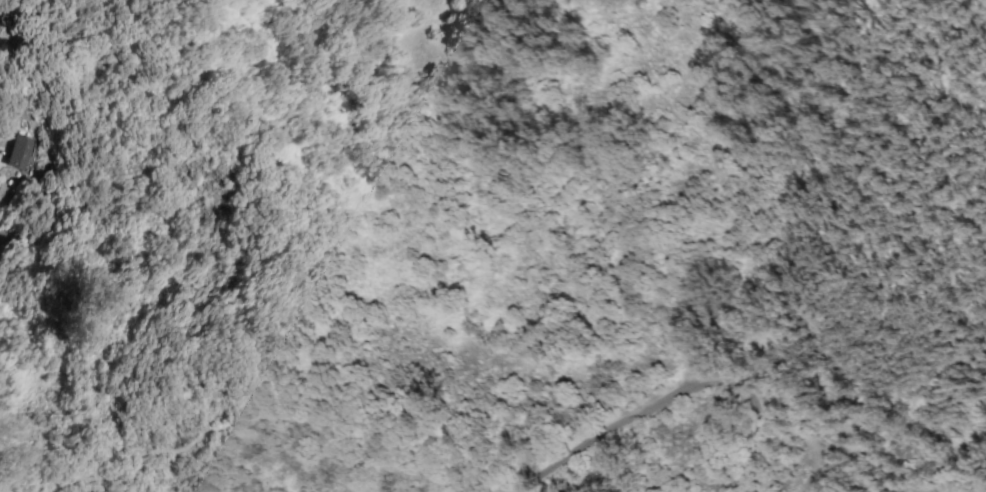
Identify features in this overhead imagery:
building: (18, 151)
road: (670, 397)

